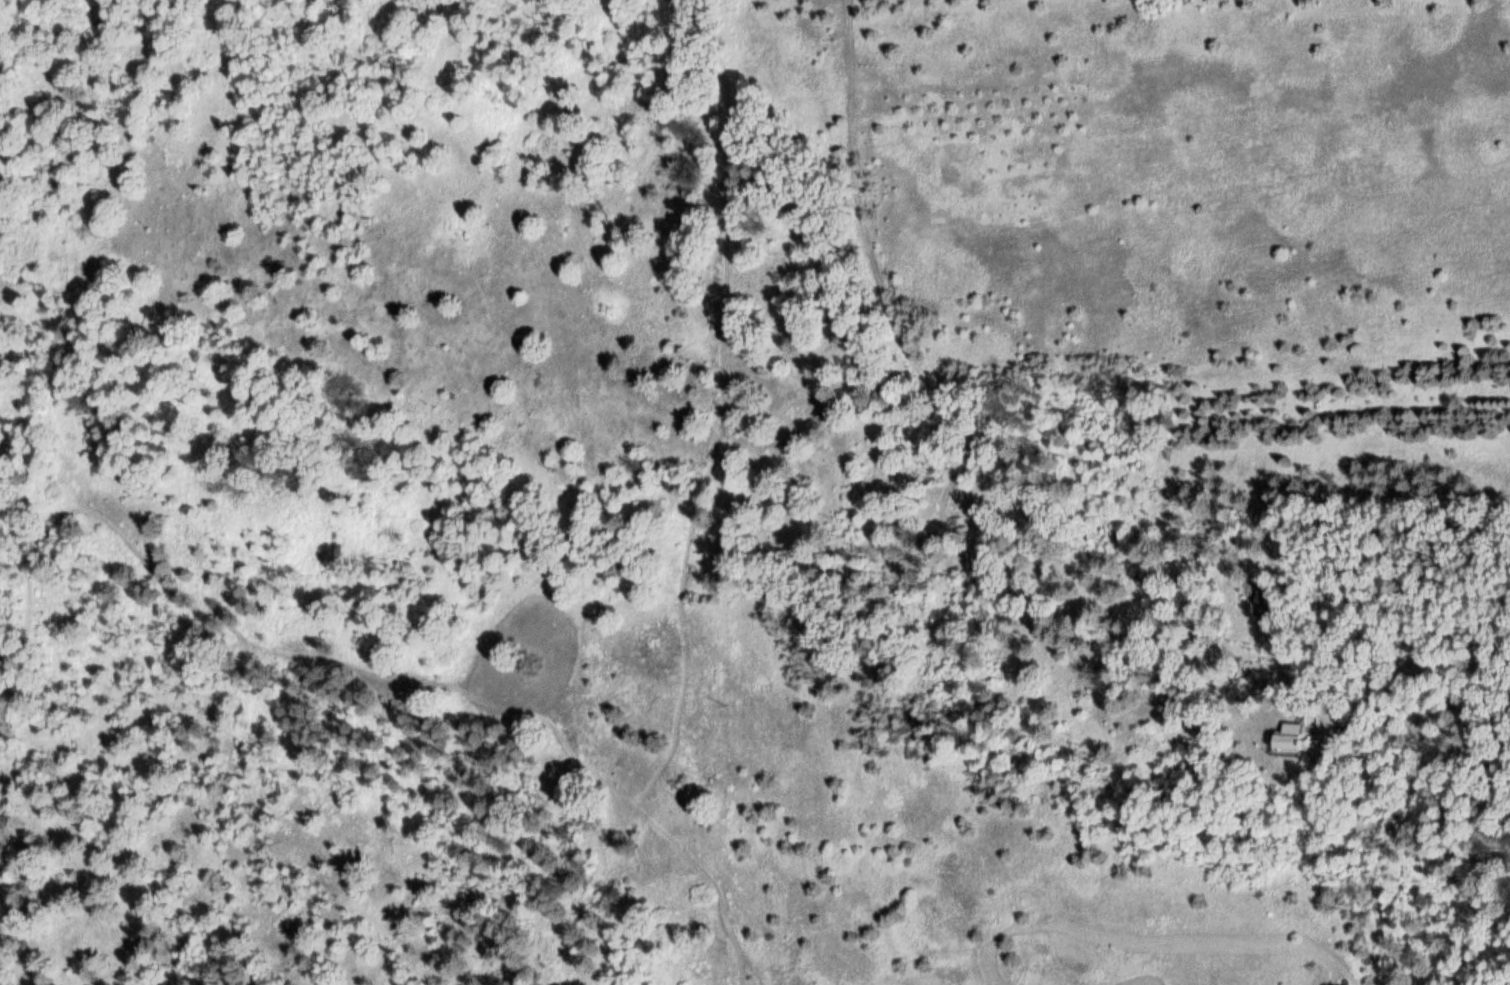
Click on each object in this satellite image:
road: (866, 253)
building: (1286, 739)

